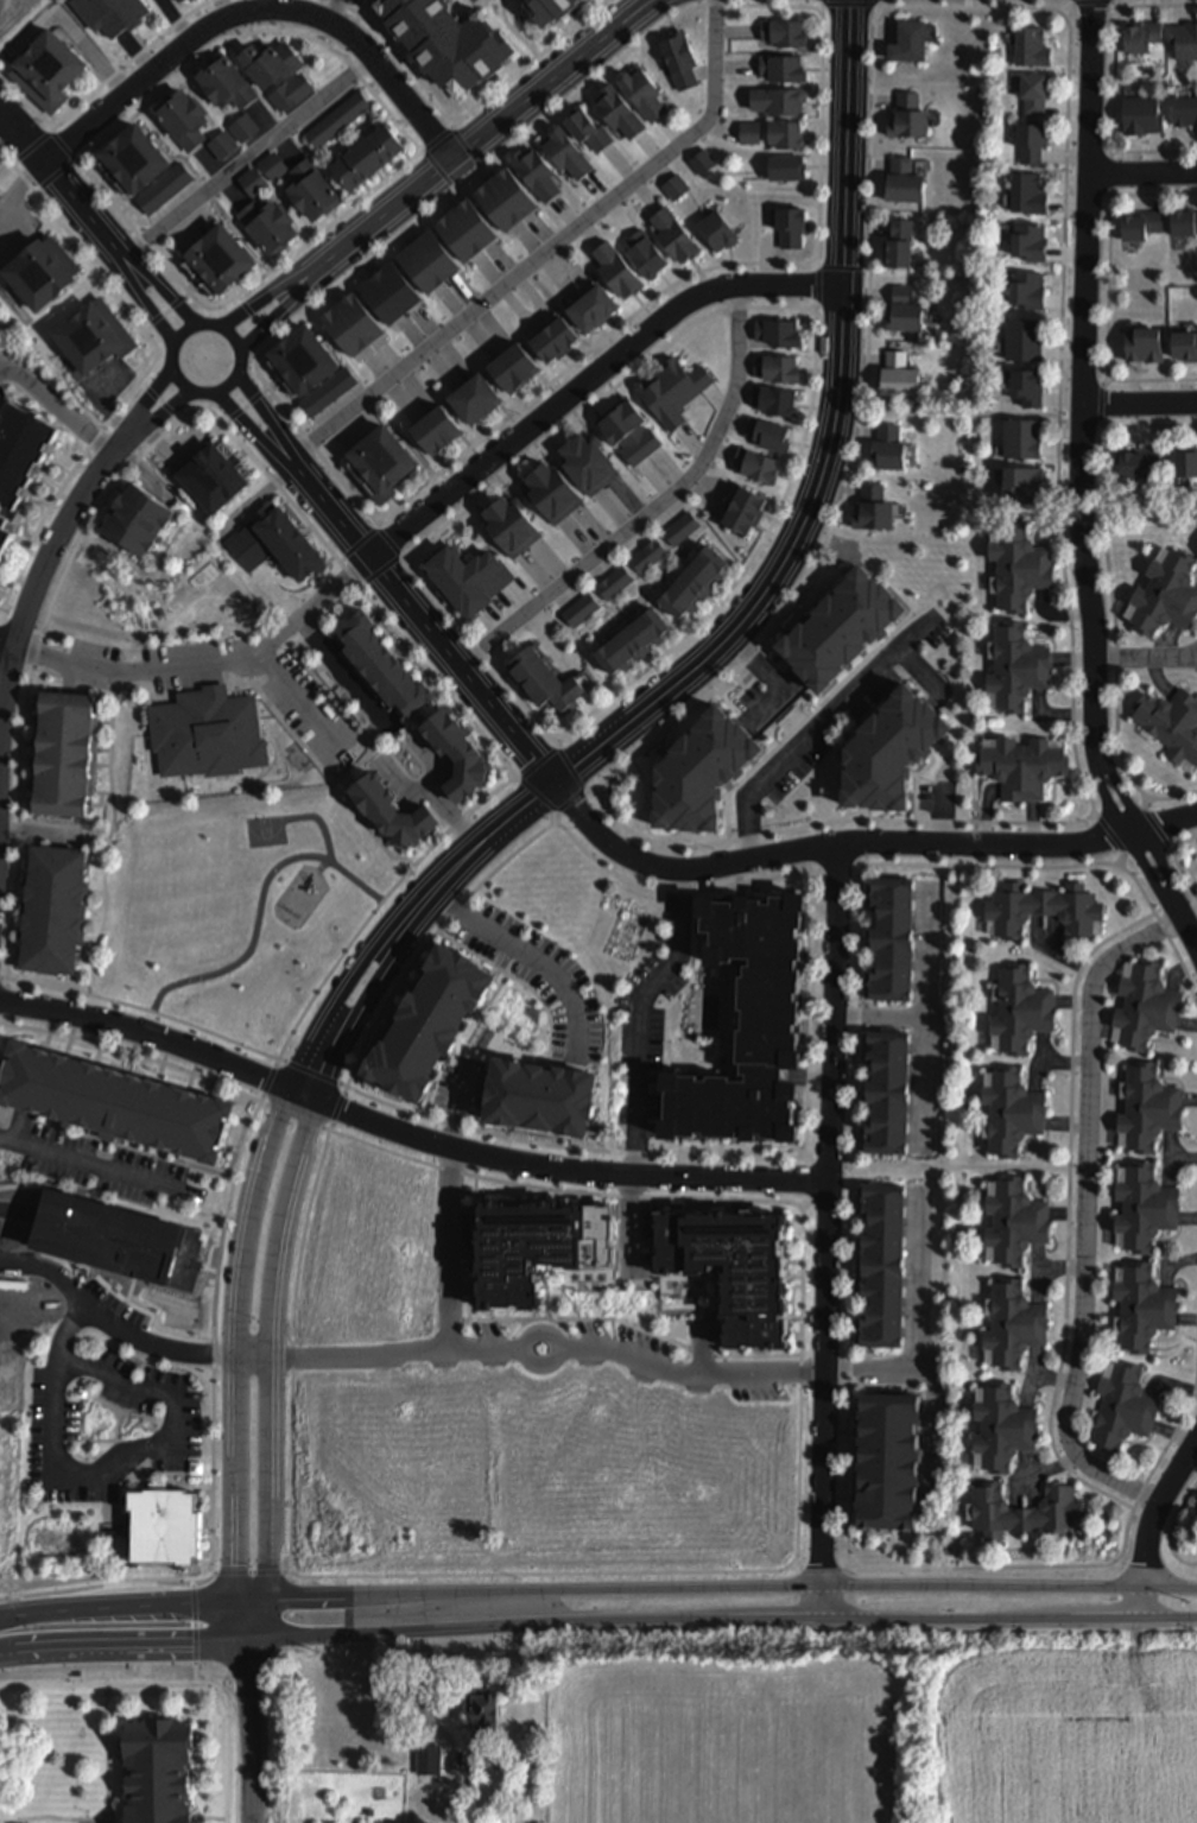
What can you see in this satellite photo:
building: (180, 2)
road: (824, 2)
road: (1091, 4)
building: (555, 6)
road: (849, 6)
road: (1117, 7)
road: (879, 8)
road: (329, 10)
road: (1068, 10)
road: (254, 11)
park: (9, 13)
building: (112, 13)
building: (783, 30)
building: (1141, 34)
building: (457, 36)
building: (1184, 38)
building: (906, 39)
building: (1030, 44)
building: (678, 57)
building: (272, 61)
building: (780, 67)
building: (49, 69)
road: (104, 82)
building: (227, 82)
road: (1114, 83)
building: (1034, 89)
building: (291, 91)
building: (640, 91)
building: (777, 99)
building: (616, 109)
building: (1185, 109)
building: (1140, 113)
building: (906, 115)
road: (464, 116)
building: (182, 118)
building: (336, 120)
road: (452, 122)
road: (51, 127)
building: (243, 127)
building: (584, 127)
building: (747, 129)
building: (784, 132)
road: (483, 134)
building: (1031, 139)
road: (433, 141)
building: (221, 144)
road: (62, 146)
building: (563, 150)
road: (1113, 152)
building: (365, 157)
road: (247, 158)
building: (701, 159)
road: (80, 160)
building: (131, 162)
building: (0, 165)
building: (273, 165)
building: (784, 165)
building: (534, 169)
road: (1142, 172)
building: (902, 178)
building: (253, 182)
road: (62, 183)
road: (94, 183)
building: (673, 184)
building: (165, 189)
building: (311, 190)
building: (1026, 190)
building: (503, 195)
building: (0, 196)
road: (1113, 196)
building: (1183, 220)
building: (1139, 222)
building: (790, 224)
building: (267, 226)
building: (464, 227)
building: (716, 229)
building: (672, 233)
building: (1030, 239)
building: (897, 241)
building: (644, 251)
building: (425, 260)
building: (217, 261)
road: (816, 264)
building: (614, 267)
building: (43, 272)
road: (505, 284)
building: (1027, 287)
road: (163, 289)
road: (1109, 290)
building: (387, 291)
road: (265, 296)
road: (145, 300)
building: (589, 305)
road: (815, 308)
building: (902, 308)
road: (278, 310)
road: (166, 311)
road: (254, 318)
building: (348, 322)
building: (775, 330)
building: (550, 336)
building: (1024, 337)
building: (94, 338)
building: (1142, 343)
building: (1184, 343)
building: (299, 362)
building: (511, 365)
building: (775, 366)
road: (145, 373)
building: (897, 373)
road: (588, 379)
road: (1107, 380)
road: (232, 381)
building: (1026, 384)
road: (1065, 386)
building: (325, 391)
building: (672, 391)
building: (471, 395)
building: (773, 399)
road: (159, 400)
road: (1140, 404)
road: (245, 405)
road: (58, 406)
road: (142, 407)
road: (963, 412)
road: (266, 414)
road: (154, 419)
road: (1065, 422)
road: (249, 426)
road: (1106, 426)
building: (432, 428)
building: (627, 431)
building: (767, 432)
road: (805, 432)
building: (1021, 436)
road: (830, 444)
building: (887, 445)
building: (19, 458)
building: (1139, 461)
building: (1185, 461)
building: (585, 462)
building: (380, 463)
building: (754, 463)
building: (211, 474)
building: (1021, 481)
road: (1085, 482)
road: (275, 486)
building: (550, 490)
road: (412, 493)
building: (872, 507)
building: (742, 508)
road: (657, 509)
building: (135, 519)
road: (376, 523)
building: (507, 524)
building: (680, 528)
building: (274, 543)
road: (356, 544)
road: (391, 544)
building: (647, 556)
building: (1019, 566)
road: (379, 570)
building: (468, 578)
building: (614, 583)
building: (695, 583)
road: (33, 591)
building: (1165, 593)
road: (1113, 597)
building: (579, 609)
road: (1, 619)
road: (420, 622)
building: (837, 625)
road: (1, 628)
building: (632, 641)
road: (7, 645)
road: (1146, 658)
road: (208, 665)
building: (1015, 665)
building: (379, 667)
road: (340, 671)
road: (1073, 676)
building: (544, 679)
road: (298, 701)
road: (816, 709)
building: (1171, 721)
road: (818, 728)
building: (203, 730)
road: (557, 741)
building: (454, 747)
building: (887, 748)
building: (62, 753)
road: (566, 762)
building: (1021, 765)
building: (697, 770)
road: (916, 774)
road: (512, 778)
road: (917, 785)
road: (591, 791)
road: (646, 796)
road: (724, 796)
road: (540, 799)
building: (388, 800)
road: (1146, 803)
road: (524, 808)
road: (1095, 816)
road: (859, 842)
road: (526, 843)
road: (1171, 846)
road: (1174, 847)
road: (1122, 861)
road: (1178, 861)
road: (837, 866)
road: (862, 866)
road: (813, 873)
building: (893, 887)
building: (892, 907)
building: (53, 909)
building: (1041, 909)
building: (892, 930)
building: (892, 951)
building: (892, 973)
building: (891, 990)
building: (1140, 995)
road: (1092, 1017)
building: (1024, 1023)
building: (750, 1026)
building: (889, 1040)
road: (133, 1051)
building: (889, 1061)
road: (639, 1066)
building: (888, 1082)
building: (1146, 1096)
building: (110, 1101)
building: (888, 1101)
road: (835, 1107)
road: (296, 1115)
building: (1020, 1119)
building: (888, 1121)
road: (407, 1132)
road: (530, 1141)
building: (887, 1142)
road: (790, 1146)
road: (102, 1166)
road: (963, 1167)
road: (259, 1177)
road: (807, 1204)
building: (1142, 1204)
road: (283, 1209)
road: (1070, 1211)
building: (1020, 1217)
road: (854, 1238)
road: (451, 1248)
building: (546, 1251)
building: (885, 1261)
building: (736, 1268)
building: (1136, 1303)
building: (1019, 1325)
road: (555, 1334)
road: (215, 1336)
road: (293, 1349)
road: (248, 1357)
road: (1082, 1360)
road: (693, 1373)
road: (802, 1397)
parking lot: (107, 1417)
building: (1126, 1420)
building: (1003, 1428)
road: (112, 1462)
building: (891, 1462)
road: (825, 1477)
road: (1158, 1511)
building: (1025, 1513)
building: (161, 1525)
road: (1172, 1530)
road: (847, 1565)
road: (797, 1568)
road: (822, 1570)
road: (249, 1572)
road: (104, 1580)
road: (983, 1587)
road: (1170, 1588)
road: (530, 1590)
road: (823, 1602)
road: (1141, 1602)
road: (118, 1604)
road: (243, 1620)
road: (723, 1620)
road: (125, 1645)
road: (235, 1658)
road: (220, 1664)
road: (178, 1682)
building: (483, 1707)
road: (435, 1722)
crop: (861, 1724)
road: (251, 1732)
road: (115, 1741)
road: (108, 1752)
road: (116, 1753)
building: (429, 1758)
building: (158, 1770)
road: (56, 1817)
road: (210, 1819)
road: (87, 1821)
road: (205, 1821)

